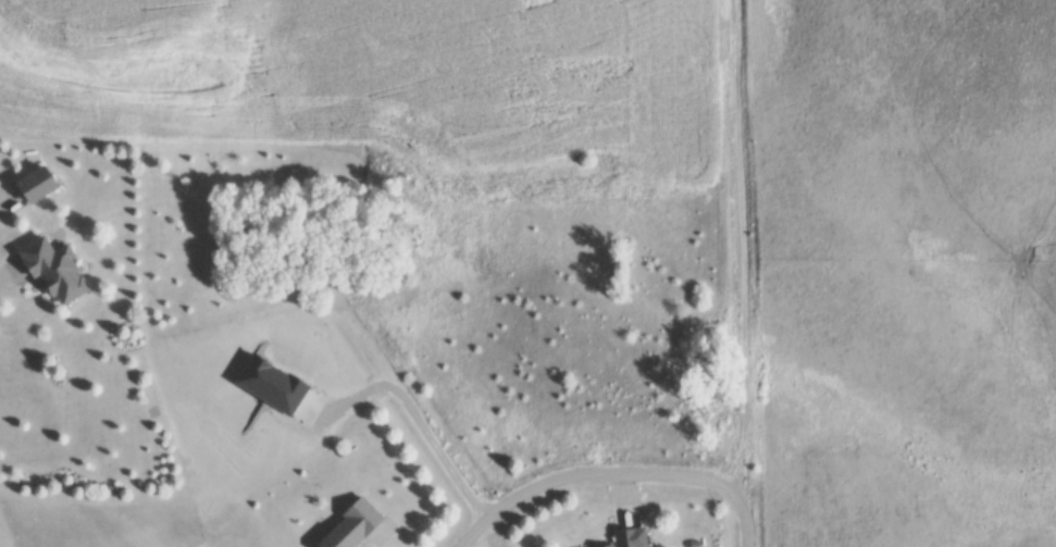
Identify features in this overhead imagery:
building: (45, 184)
road: (744, 249)
building: (62, 271)
road: (431, 440)
road: (594, 476)
road: (746, 523)
building: (359, 525)
building: (637, 538)

